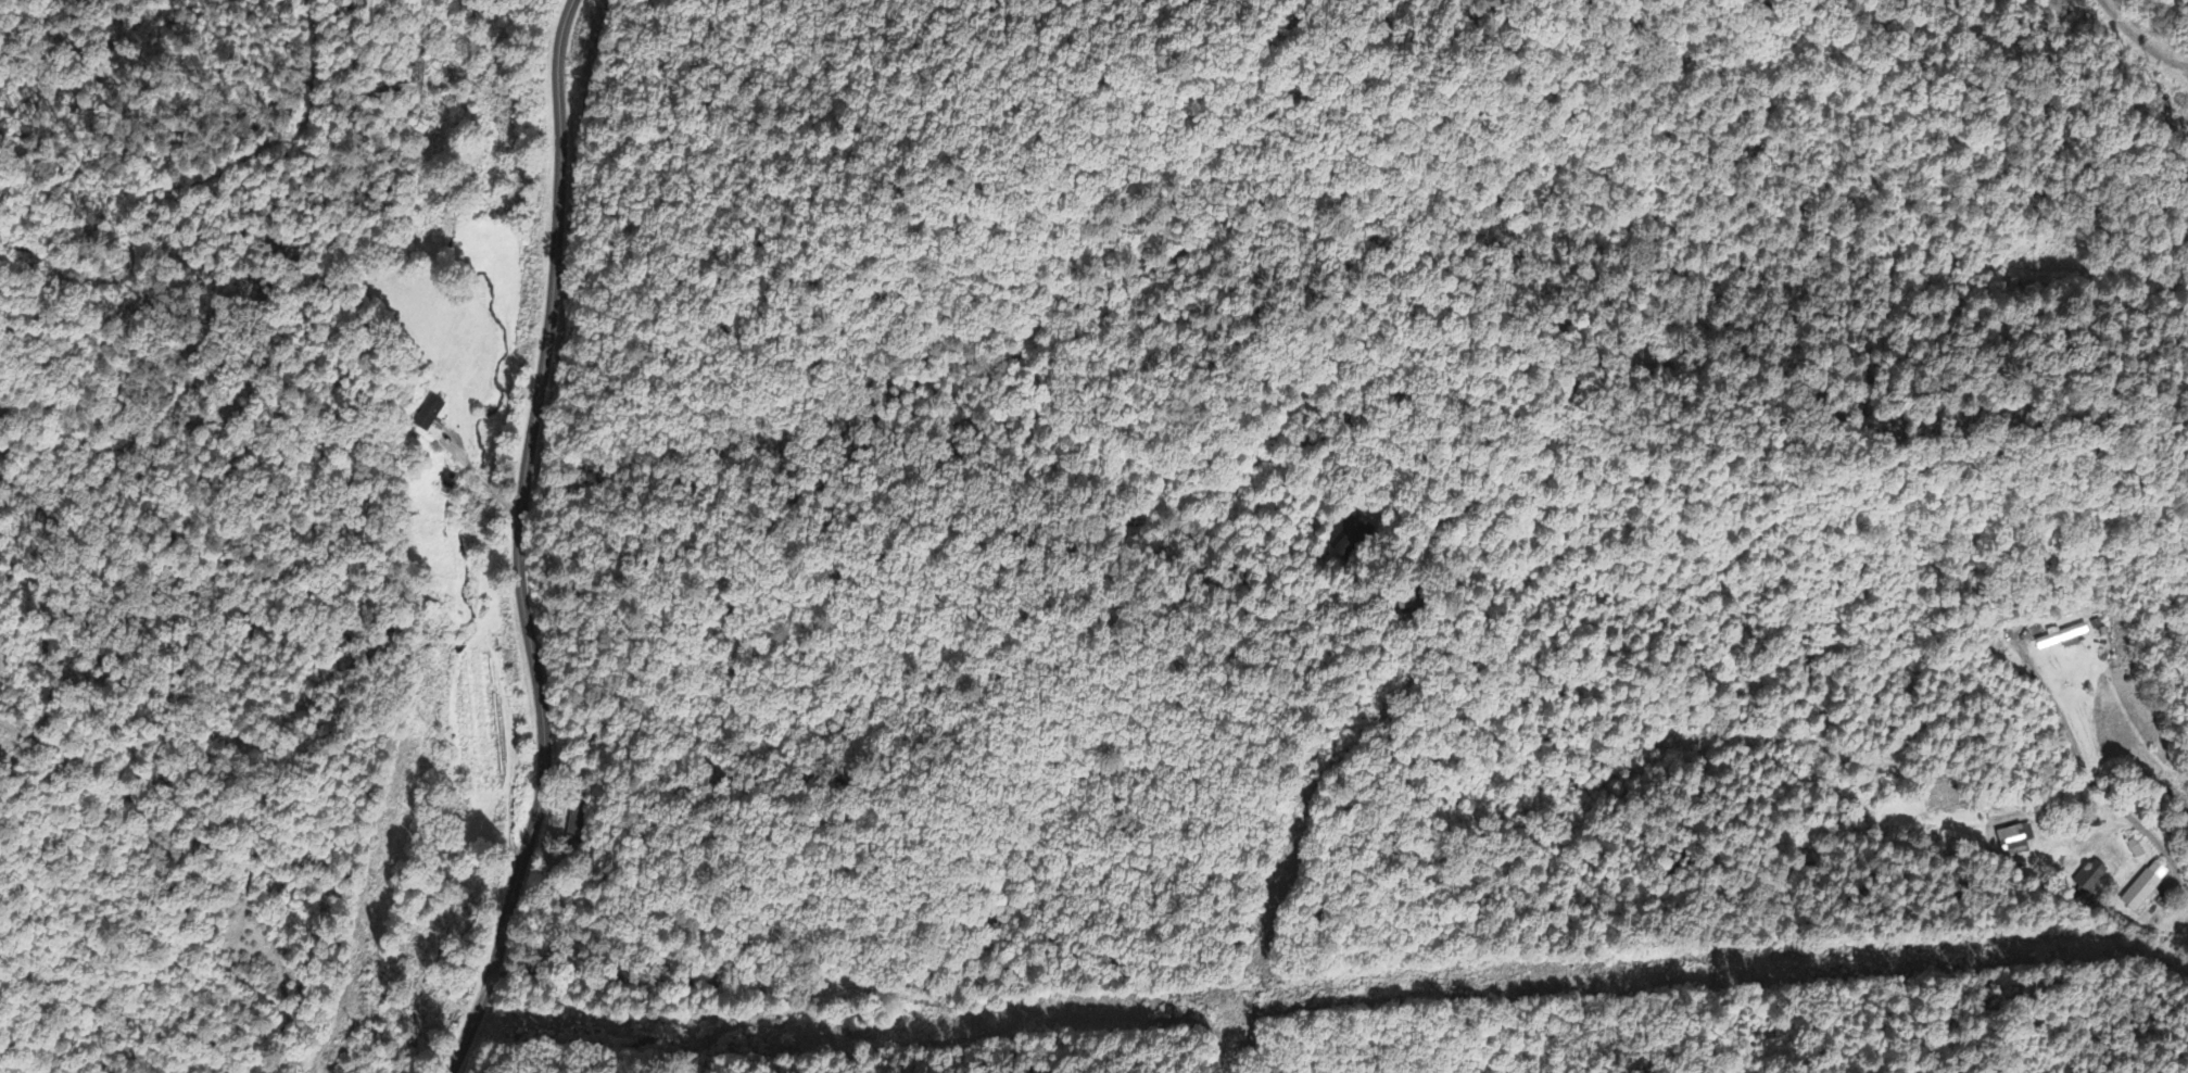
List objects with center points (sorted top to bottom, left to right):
building: (430, 416)
road: (514, 545)
building: (2064, 640)
road: (2086, 780)
building: (2014, 838)
building: (2090, 879)
building: (2146, 888)

